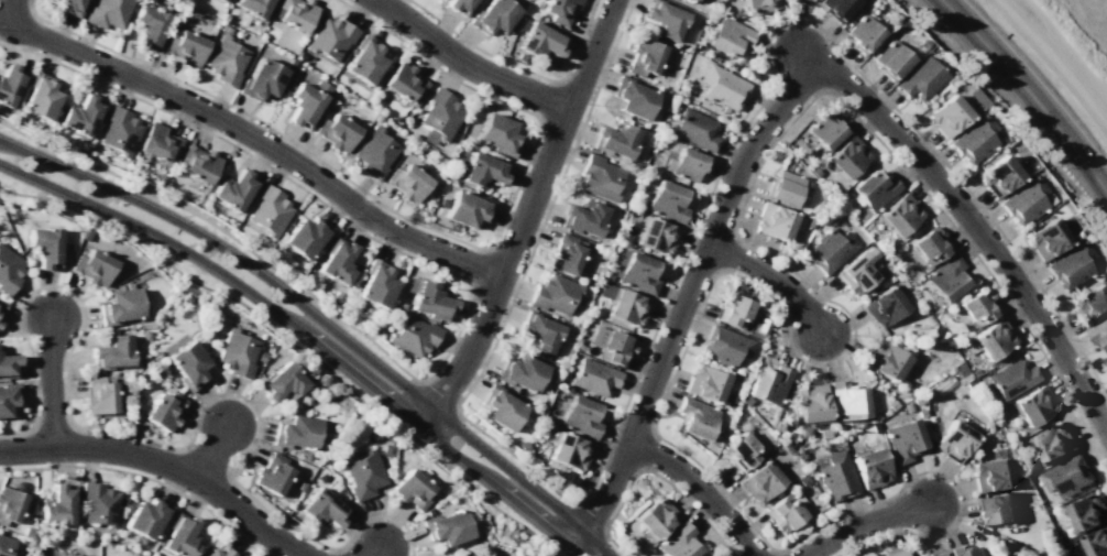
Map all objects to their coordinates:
building: (220, 0)
building: (690, 0)
building: (792, 0)
building: (807, 0)
building: (459, 6)
building: (758, 6)
building: (70, 7)
building: (253, 7)
building: (836, 8)
building: (559, 10)
building: (108, 12)
building: (294, 13)
building: (492, 17)
building: (664, 18)
building: (149, 26)
road: (772, 31)
building: (862, 33)
building: (727, 36)
building: (329, 37)
building: (539, 41)
building: (922, 43)
building: (185, 47)
road: (591, 54)
building: (643, 56)
building: (364, 59)
building: (891, 59)
building: (224, 61)
building: (293, 63)
road: (469, 64)
road: (519, 67)
building: (920, 78)
building: (261, 80)
building: (403, 81)
building: (9, 83)
building: (721, 86)
road: (1029, 91)
building: (40, 96)
building: (632, 97)
building: (976, 97)
building: (306, 102)
road: (1015, 113)
building: (80, 115)
building: (439, 116)
building: (947, 116)
building: (118, 130)
building: (694, 130)
building: (825, 130)
building: (336, 131)
building: (497, 134)
road: (252, 135)
building: (973, 139)
building: (614, 140)
building: (156, 142)
building: (373, 152)
building: (846, 155)
building: (197, 163)
building: (684, 164)
building: (483, 170)
building: (599, 176)
building: (998, 176)
road: (289, 181)
building: (407, 182)
building: (782, 187)
building: (234, 189)
building: (874, 189)
road: (929, 196)
building: (1023, 200)
building: (667, 201)
road: (548, 207)
building: (467, 208)
building: (268, 210)
building: (898, 215)
building: (583, 218)
building: (774, 220)
road: (971, 221)
road: (414, 222)
road: (222, 231)
building: (85, 233)
building: (306, 236)
building: (656, 236)
building: (1046, 239)
building: (929, 246)
building: (45, 247)
road: (758, 248)
building: (831, 250)
building: (566, 253)
building: (337, 261)
building: (1070, 265)
building: (92, 266)
road: (501, 271)
building: (856, 271)
building: (9, 272)
building: (635, 272)
road: (772, 276)
building: (945, 277)
building: (376, 284)
building: (553, 294)
building: (336, 297)
road: (77, 298)
building: (429, 301)
road: (682, 304)
building: (1089, 304)
building: (623, 305)
building: (884, 305)
building: (1, 306)
building: (119, 306)
building: (977, 306)
building: (732, 309)
road: (18, 317)
road: (320, 321)
building: (760, 325)
building: (538, 331)
building: (1098, 334)
road: (306, 336)
building: (414, 336)
building: (993, 338)
road: (294, 345)
building: (610, 345)
building: (725, 346)
road: (682, 349)
building: (111, 351)
building: (237, 353)
building: (260, 357)
building: (886, 360)
building: (188, 364)
building: (8, 366)
building: (520, 372)
building: (963, 375)
building: (593, 377)
building: (1011, 380)
road: (50, 382)
building: (281, 382)
building: (705, 383)
building: (768, 384)
building: (942, 384)
building: (99, 395)
building: (8, 396)
building: (917, 399)
road: (33, 400)
building: (846, 401)
building: (732, 402)
building: (811, 403)
building: (890, 404)
building: (1033, 405)
building: (907, 406)
building: (501, 407)
road: (198, 408)
building: (163, 411)
building: (919, 413)
road: (259, 416)
building: (580, 416)
building: (694, 417)
building: (875, 427)
road: (98, 428)
building: (295, 432)
building: (902, 439)
building: (954, 440)
building: (1053, 444)
road: (210, 450)
building: (568, 450)
building: (738, 451)
road: (515, 457)
road: (166, 461)
building: (870, 467)
building: (990, 473)
building: (272, 475)
building: (364, 475)
road: (942, 475)
building: (835, 476)
road: (144, 477)
building: (1066, 477)
road: (665, 481)
building: (759, 481)
building: (802, 481)
road: (699, 488)
building: (412, 489)
building: (10, 504)
building: (58, 504)
building: (99, 504)
building: (322, 508)
building: (996, 509)
building: (783, 513)
building: (1087, 513)
road: (275, 516)
building: (146, 517)
building: (655, 517)
road: (862, 521)
road: (402, 524)
road: (354, 525)
building: (446, 527)
road: (899, 532)
building: (179, 535)
building: (677, 542)
building: (1096, 543)
building: (6, 545)
road: (615, 546)
building: (966, 550)
building: (221, 552)
road: (374, 552)
building: (896, 553)
building: (938, 554)
building: (75, 555)
building: (119, 555)
building: (524, 555)
building: (714, 555)

